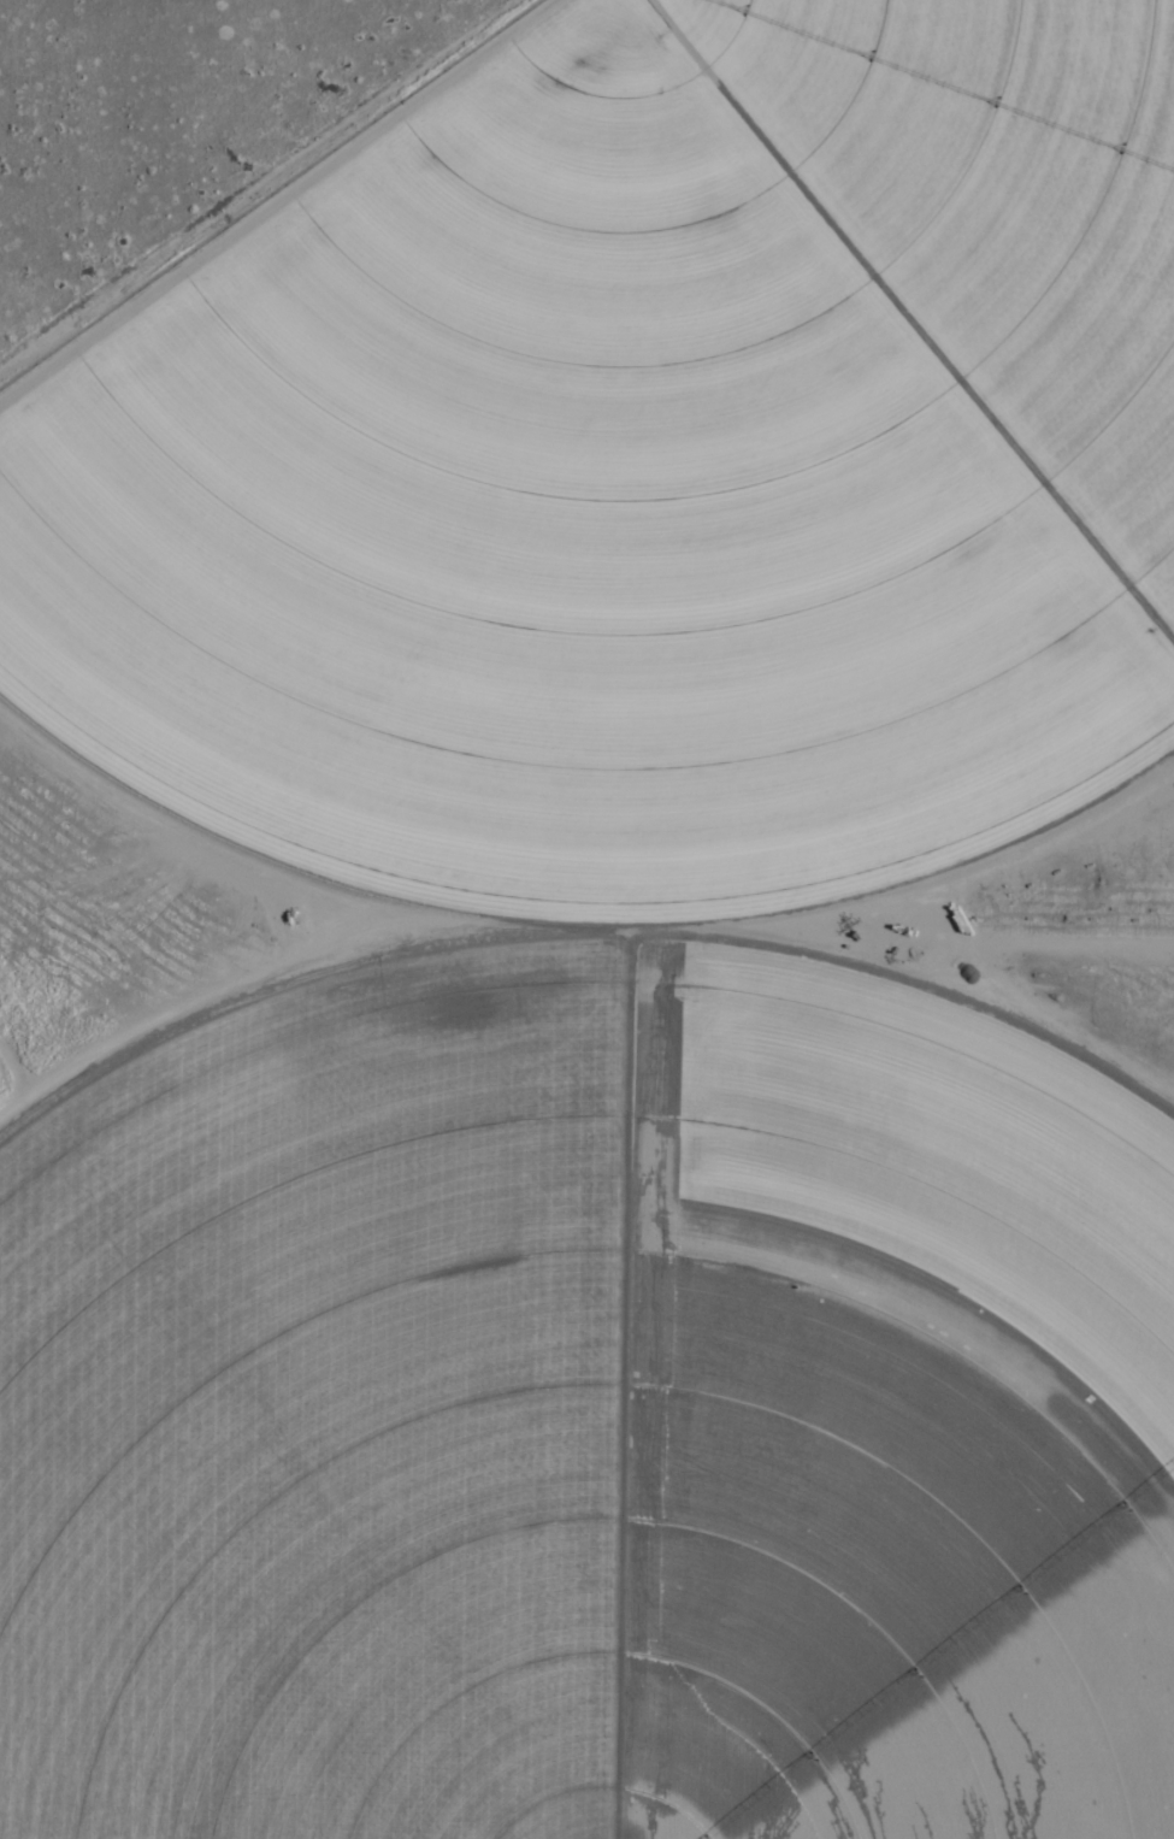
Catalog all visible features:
crop: (613, 957)

